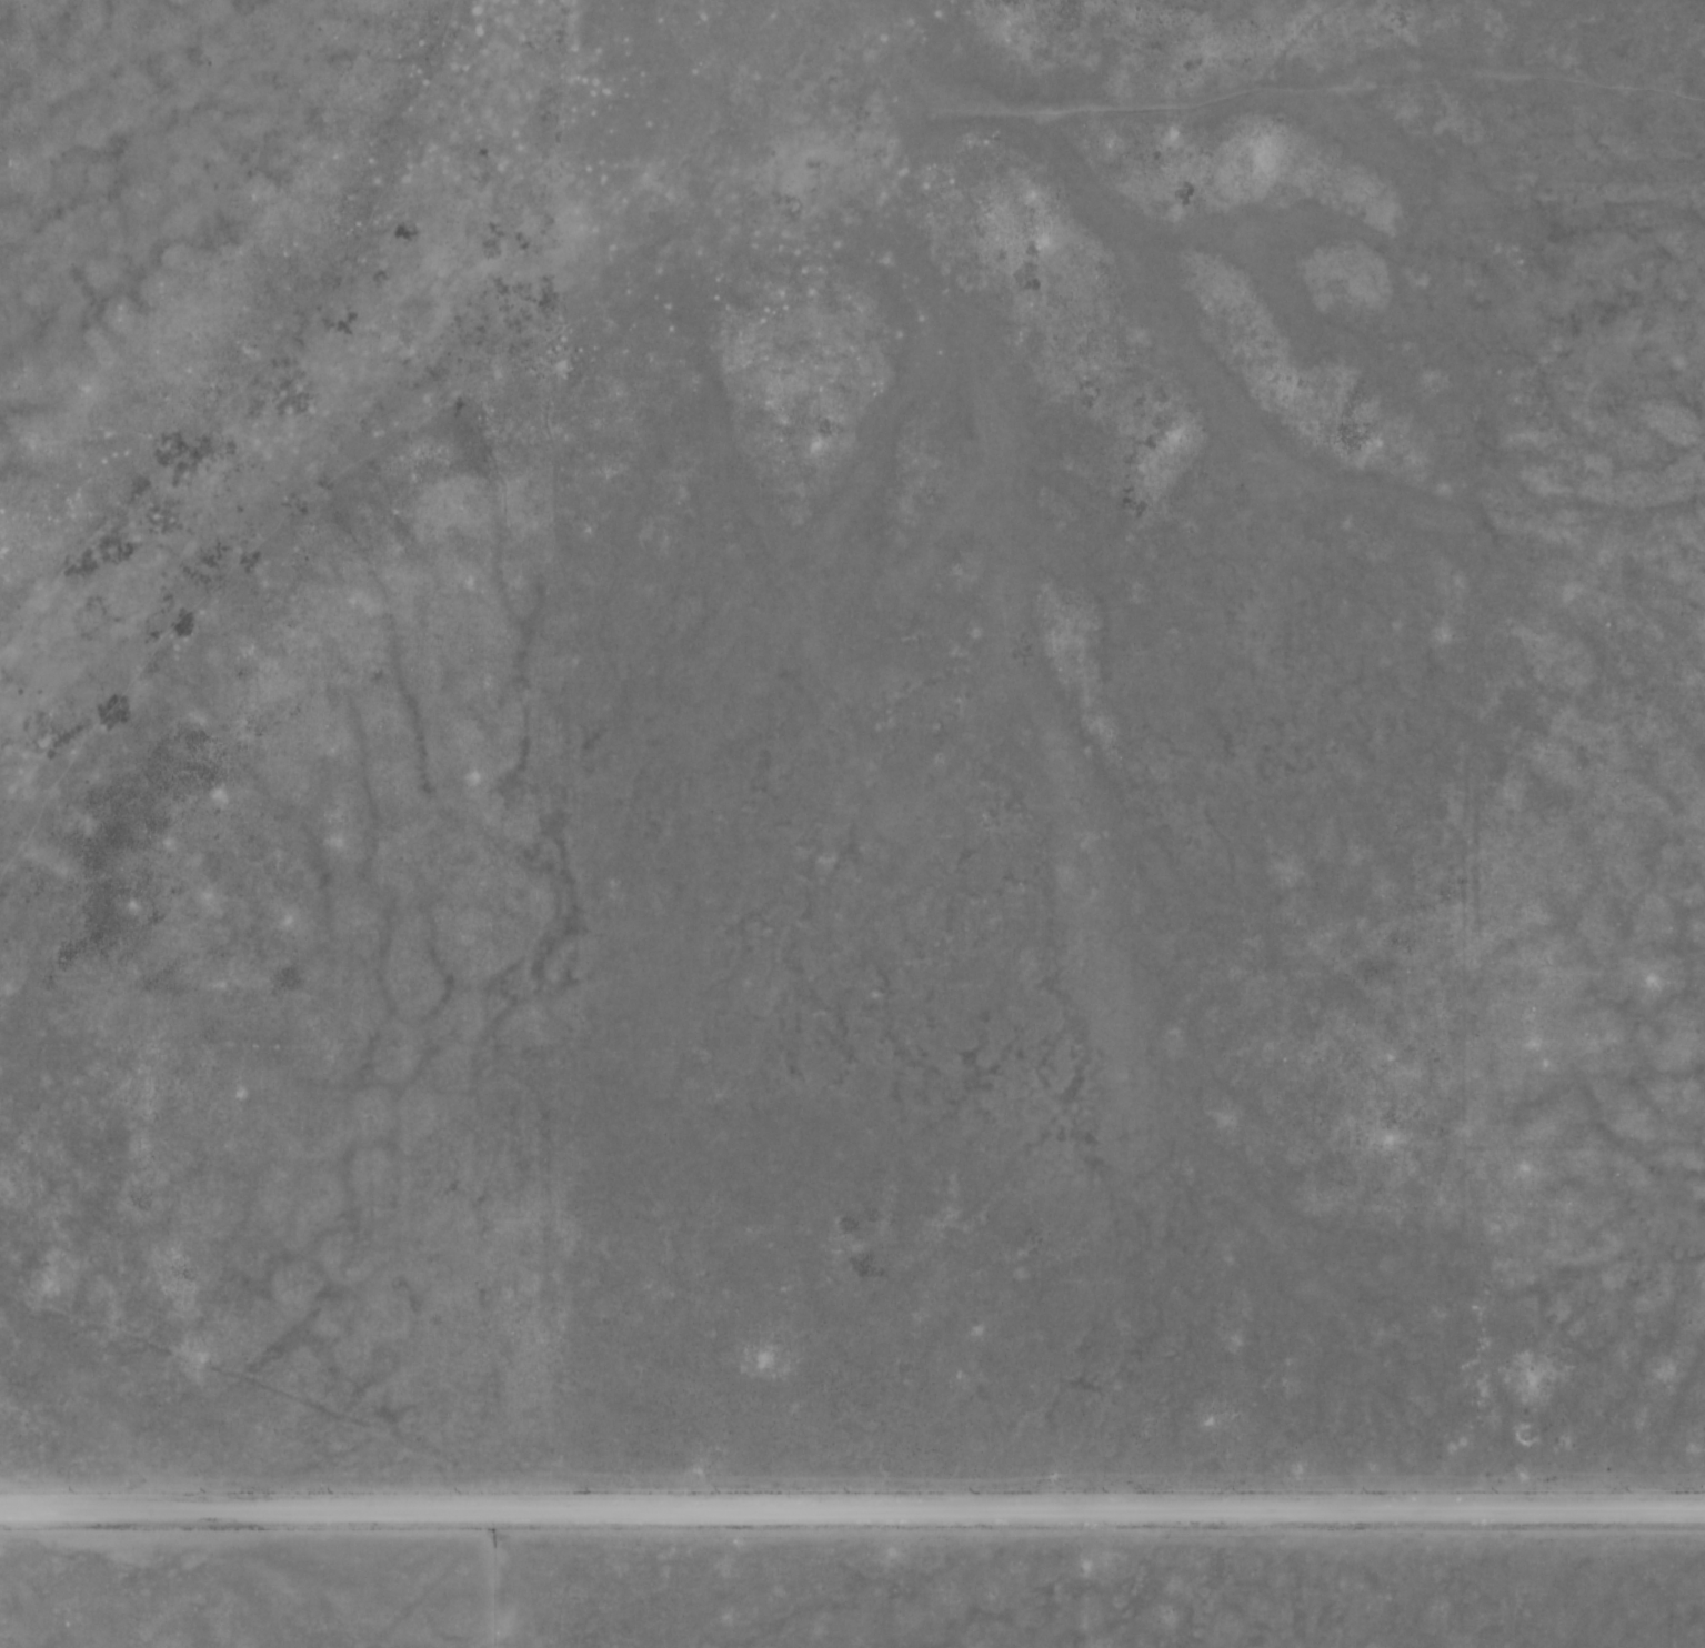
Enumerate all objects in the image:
road: (852, 1493)

